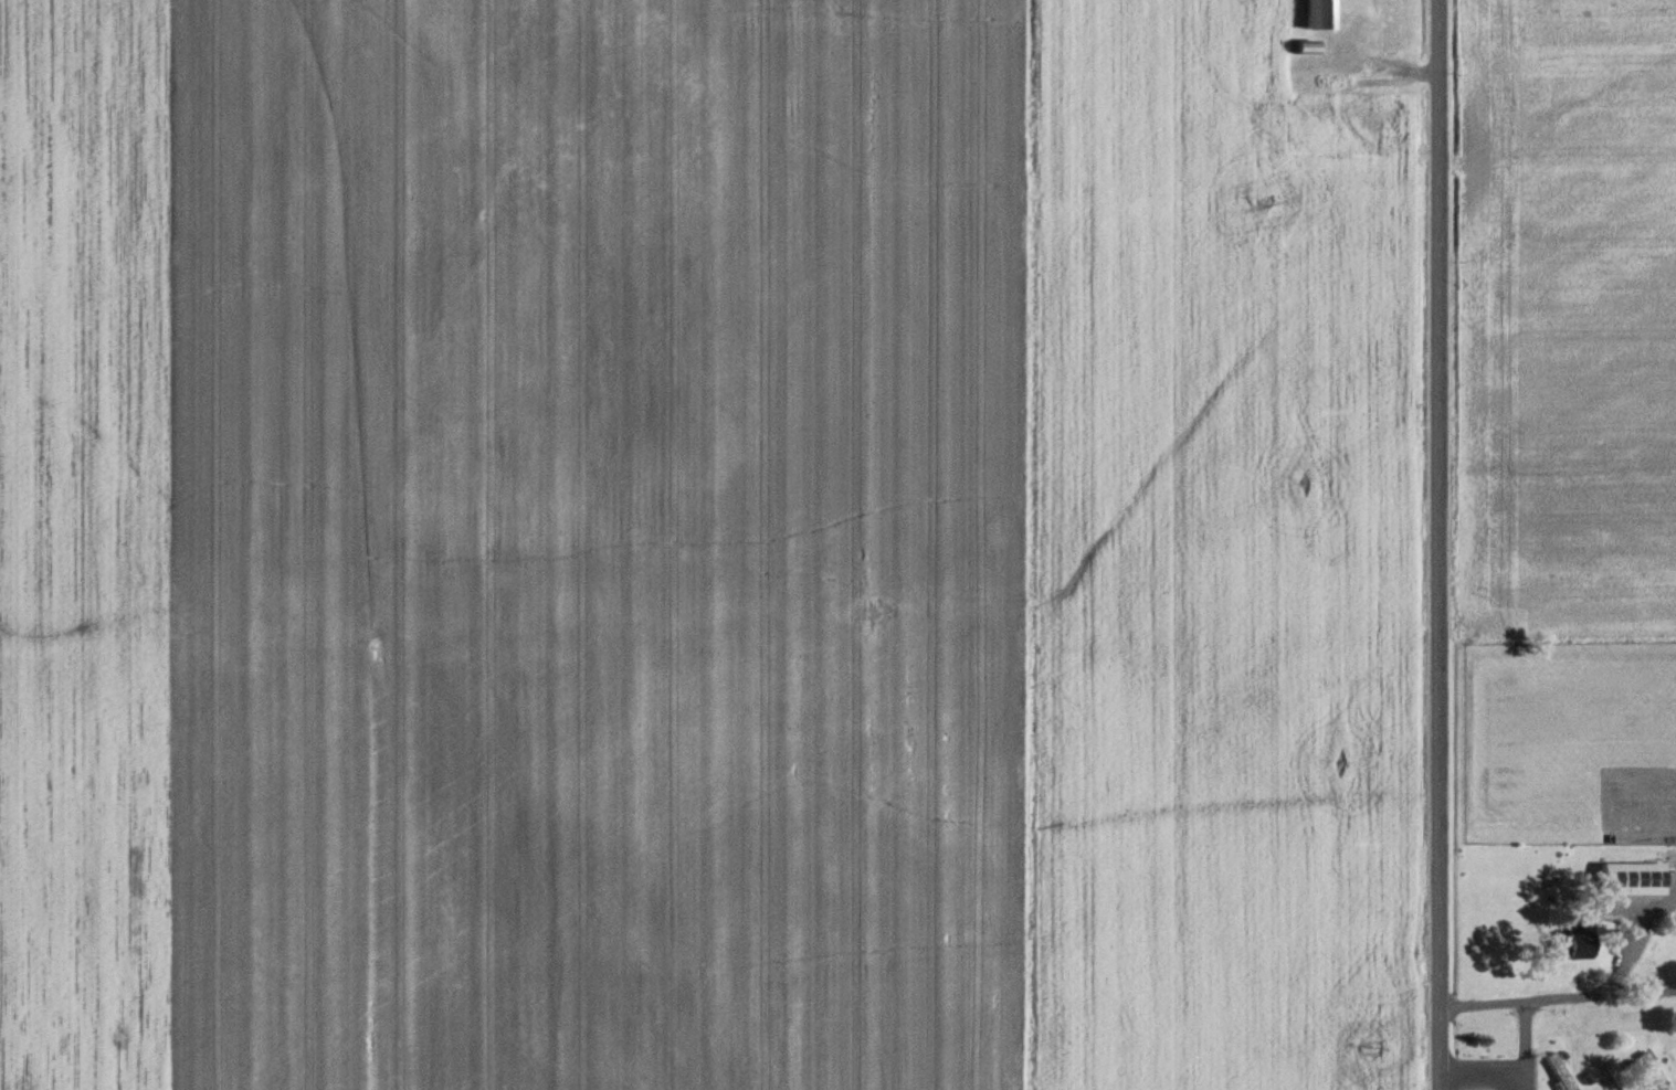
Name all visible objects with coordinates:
building: (1321, 14)
building: (1309, 47)
road: (1433, 544)
building: (1633, 878)
road: (1626, 936)
building: (1581, 944)
road: (1640, 993)
road: (1519, 1003)
road: (1525, 1039)
building: (1655, 1070)
building: (1562, 1071)
building: (1608, 1071)
road: (1477, 1076)
road: (1520, 1083)

